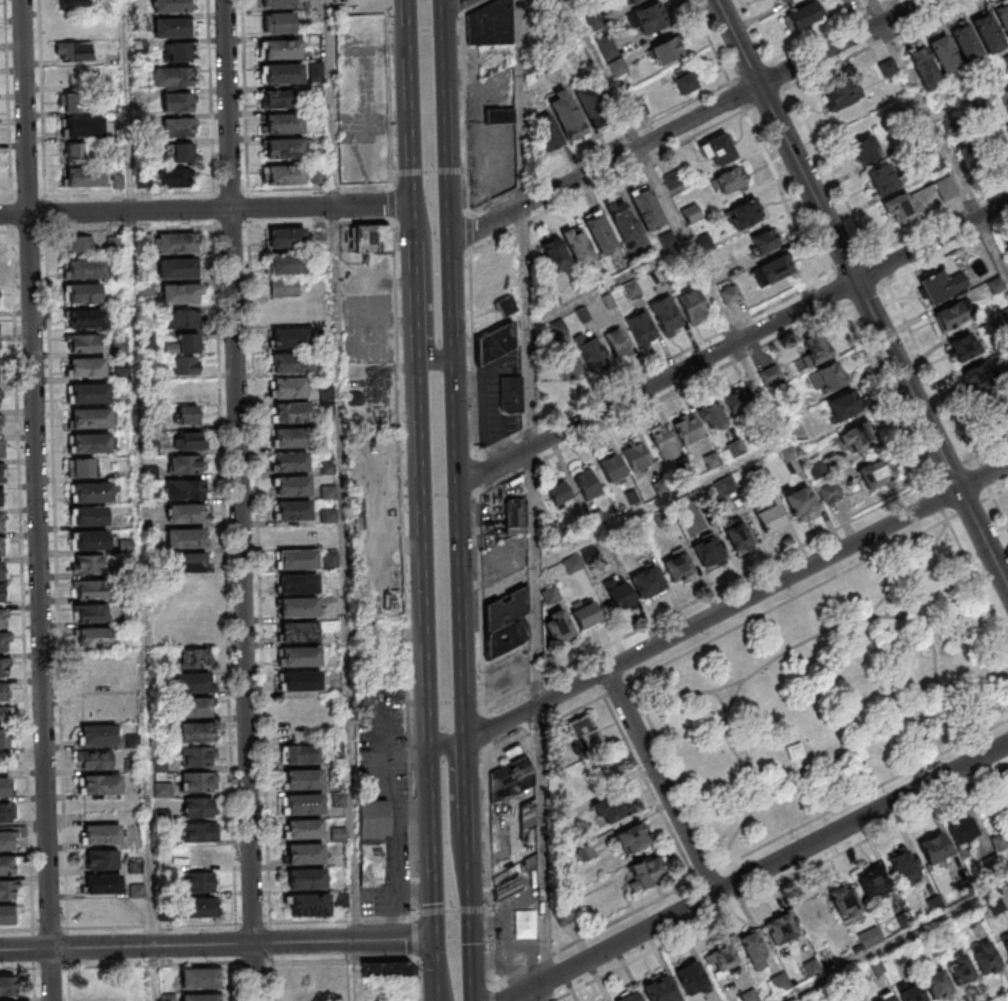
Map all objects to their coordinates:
building: (782, 0)
building: (841, 0)
building: (842, 0)
building: (633, 1)
road: (452, 3)
building: (73, 4)
building: (279, 4)
building: (171, 6)
road: (462, 6)
road: (474, 6)
road: (875, 11)
building: (802, 14)
building: (1001, 14)
building: (648, 19)
building: (489, 24)
building: (280, 25)
building: (172, 29)
road: (759, 29)
road: (426, 31)
building: (987, 33)
road: (709, 41)
building: (965, 42)
road: (873, 43)
building: (283, 51)
building: (665, 51)
building: (73, 53)
building: (180, 53)
building: (944, 55)
building: (1005, 60)
building: (887, 67)
building: (924, 68)
road: (752, 70)
road: (781, 72)
building: (284, 75)
building: (172, 77)
building: (684, 81)
building: (843, 94)
road: (212, 96)
road: (246, 96)
road: (43, 98)
road: (737, 98)
road: (8, 99)
building: (281, 100)
road: (766, 100)
road: (969, 100)
building: (70, 102)
road: (331, 102)
building: (178, 103)
building: (591, 107)
road: (465, 113)
building: (498, 115)
building: (566, 116)
road: (688, 120)
road: (410, 121)
building: (286, 125)
building: (84, 128)
building: (178, 129)
building: (1006, 129)
building: (547, 134)
road: (599, 147)
road: (944, 148)
building: (865, 149)
building: (978, 149)
building: (286, 150)
building: (717, 150)
building: (73, 152)
building: (180, 152)
road: (652, 170)
road: (830, 170)
road: (430, 172)
building: (287, 177)
building: (85, 178)
building: (176, 179)
building: (881, 179)
building: (729, 181)
road: (607, 182)
building: (923, 187)
road: (197, 193)
road: (783, 197)
building: (646, 208)
road: (206, 210)
building: (745, 215)
building: (622, 222)
road: (125, 230)
road: (470, 232)
building: (599, 232)
building: (372, 238)
building: (288, 239)
building: (666, 240)
building: (763, 242)
building: (79, 244)
building: (178, 245)
building: (577, 246)
road: (946, 250)
building: (1007, 254)
building: (555, 256)
road: (849, 264)
building: (291, 265)
road: (879, 267)
building: (773, 269)
building: (87, 271)
building: (178, 271)
road: (431, 278)
road: (608, 286)
building: (941, 286)
building: (286, 289)
building: (631, 290)
road: (832, 290)
road: (416, 293)
road: (861, 293)
building: (730, 294)
road: (863, 294)
building: (82, 295)
building: (182, 295)
building: (693, 306)
building: (508, 307)
building: (666, 316)
building: (951, 316)
building: (180, 319)
building: (88, 321)
building: (641, 329)
building: (293, 339)
road: (733, 342)
building: (617, 343)
building: (183, 344)
building: (84, 345)
building: (495, 345)
building: (965, 347)
building: (120, 348)
building: (814, 350)
road: (473, 353)
building: (580, 360)
building: (293, 365)
road: (651, 367)
building: (186, 368)
building: (87, 369)
building: (123, 375)
building: (770, 376)
building: (830, 378)
road: (456, 380)
building: (982, 384)
building: (291, 390)
road: (761, 390)
road: (883, 392)
building: (329, 393)
building: (90, 396)
building: (511, 396)
road: (658, 398)
building: (740, 401)
building: (844, 408)
building: (293, 415)
building: (711, 417)
building: (91, 421)
building: (1, 426)
building: (687, 432)
building: (185, 437)
building: (861, 438)
building: (294, 440)
building: (664, 445)
building: (92, 446)
building: (153, 449)
building: (3, 451)
building: (636, 458)
road: (400, 460)
building: (185, 464)
building: (294, 464)
building: (329, 469)
building: (82, 470)
building: (611, 471)
road: (139, 473)
road: (477, 473)
building: (152, 474)
building: (0, 475)
building: (876, 475)
building: (587, 486)
building: (295, 489)
building: (557, 492)
road: (1000, 492)
building: (186, 493)
building: (330, 494)
building: (93, 495)
building: (0, 500)
road: (38, 500)
road: (241, 500)
road: (532, 500)
building: (515, 501)
road: (938, 501)
road: (660, 504)
building: (800, 504)
road: (970, 507)
road: (1000, 511)
building: (295, 513)
building: (188, 516)
building: (331, 517)
building: (91, 518)
building: (768, 518)
building: (1, 524)
building: (737, 535)
building: (187, 541)
road: (225, 541)
building: (92, 543)
building: (127, 548)
building: (1, 549)
building: (708, 553)
building: (299, 562)
building: (333, 562)
building: (87, 563)
building: (573, 564)
building: (187, 565)
building: (678, 569)
building: (128, 571)
building: (1, 573)
road: (261, 575)
road: (23, 581)
road: (978, 581)
building: (650, 585)
building: (300, 586)
building: (91, 592)
road: (906, 592)
building: (2, 595)
road: (706, 595)
building: (550, 596)
building: (619, 597)
road: (480, 599)
road: (738, 602)
road: (790, 602)
road: (347, 603)
building: (299, 610)
building: (92, 616)
building: (586, 616)
building: (505, 618)
building: (2, 621)
building: (558, 628)
building: (300, 635)
building: (95, 640)
building: (334, 640)
road: (807, 641)
road: (931, 642)
building: (4, 643)
road: (60, 647)
building: (302, 659)
building: (196, 661)
building: (3, 669)
road: (427, 672)
building: (303, 683)
building: (193, 686)
road: (617, 688)
road: (941, 690)
park: (832, 693)
building: (3, 695)
road: (734, 698)
building: (195, 710)
building: (94, 712)
building: (4, 718)
road: (544, 724)
road: (484, 731)
building: (196, 736)
building: (585, 736)
building: (98, 738)
building: (5, 741)
building: (133, 742)
road: (731, 745)
road: (846, 753)
building: (304, 756)
building: (197, 759)
building: (96, 761)
building: (133, 767)
building: (161, 767)
building: (512, 771)
road: (775, 772)
road: (677, 775)
building: (305, 782)
road: (661, 782)
building: (199, 784)
building: (103, 788)
building: (5, 790)
road: (865, 795)
building: (339, 800)
road: (470, 801)
building: (306, 807)
building: (612, 809)
building: (200, 810)
building: (5, 812)
building: (528, 816)
building: (164, 817)
road: (454, 820)
building: (305, 831)
building: (964, 833)
building: (200, 834)
building: (103, 836)
building: (339, 836)
building: (632, 840)
building: (372, 841)
building: (6, 842)
building: (935, 851)
building: (307, 856)
building: (100, 859)
building: (6, 868)
road: (490, 869)
building: (905, 870)
road: (759, 872)
building: (645, 873)
building: (341, 876)
building: (307, 881)
building: (201, 884)
building: (873, 884)
road: (782, 885)
building: (104, 887)
building: (6, 894)
building: (342, 900)
building: (844, 901)
building: (936, 906)
building: (310, 908)
building: (997, 908)
building: (199, 911)
road: (453, 912)
building: (6, 918)
building: (974, 918)
road: (473, 921)
building: (906, 921)
road: (343, 922)
road: (254, 924)
road: (17, 931)
building: (781, 932)
traffic signals: (434, 939)
road: (415, 942)
road: (897, 942)
road: (237, 943)
building: (1005, 944)
road: (217, 945)
building: (754, 952)
building: (901, 957)
building: (722, 961)
road: (316, 962)
building: (987, 962)
road: (256, 963)
road: (35, 965)
building: (384, 968)
road: (54, 969)
building: (813, 970)
building: (877, 970)
building: (962, 972)
road: (155, 974)
building: (200, 977)
road: (443, 977)
road: (238, 982)
road: (416, 982)
building: (692, 982)
building: (781, 983)
building: (5, 985)
road: (70, 985)
building: (938, 987)
building: (660, 992)
road: (494, 993)
building: (910, 994)
building: (751, 996)
road: (998, 996)
building: (201, 997)
building: (628, 997)
building: (106, 998)
building: (168, 998)
building: (891, 999)
road: (437, 1000)

